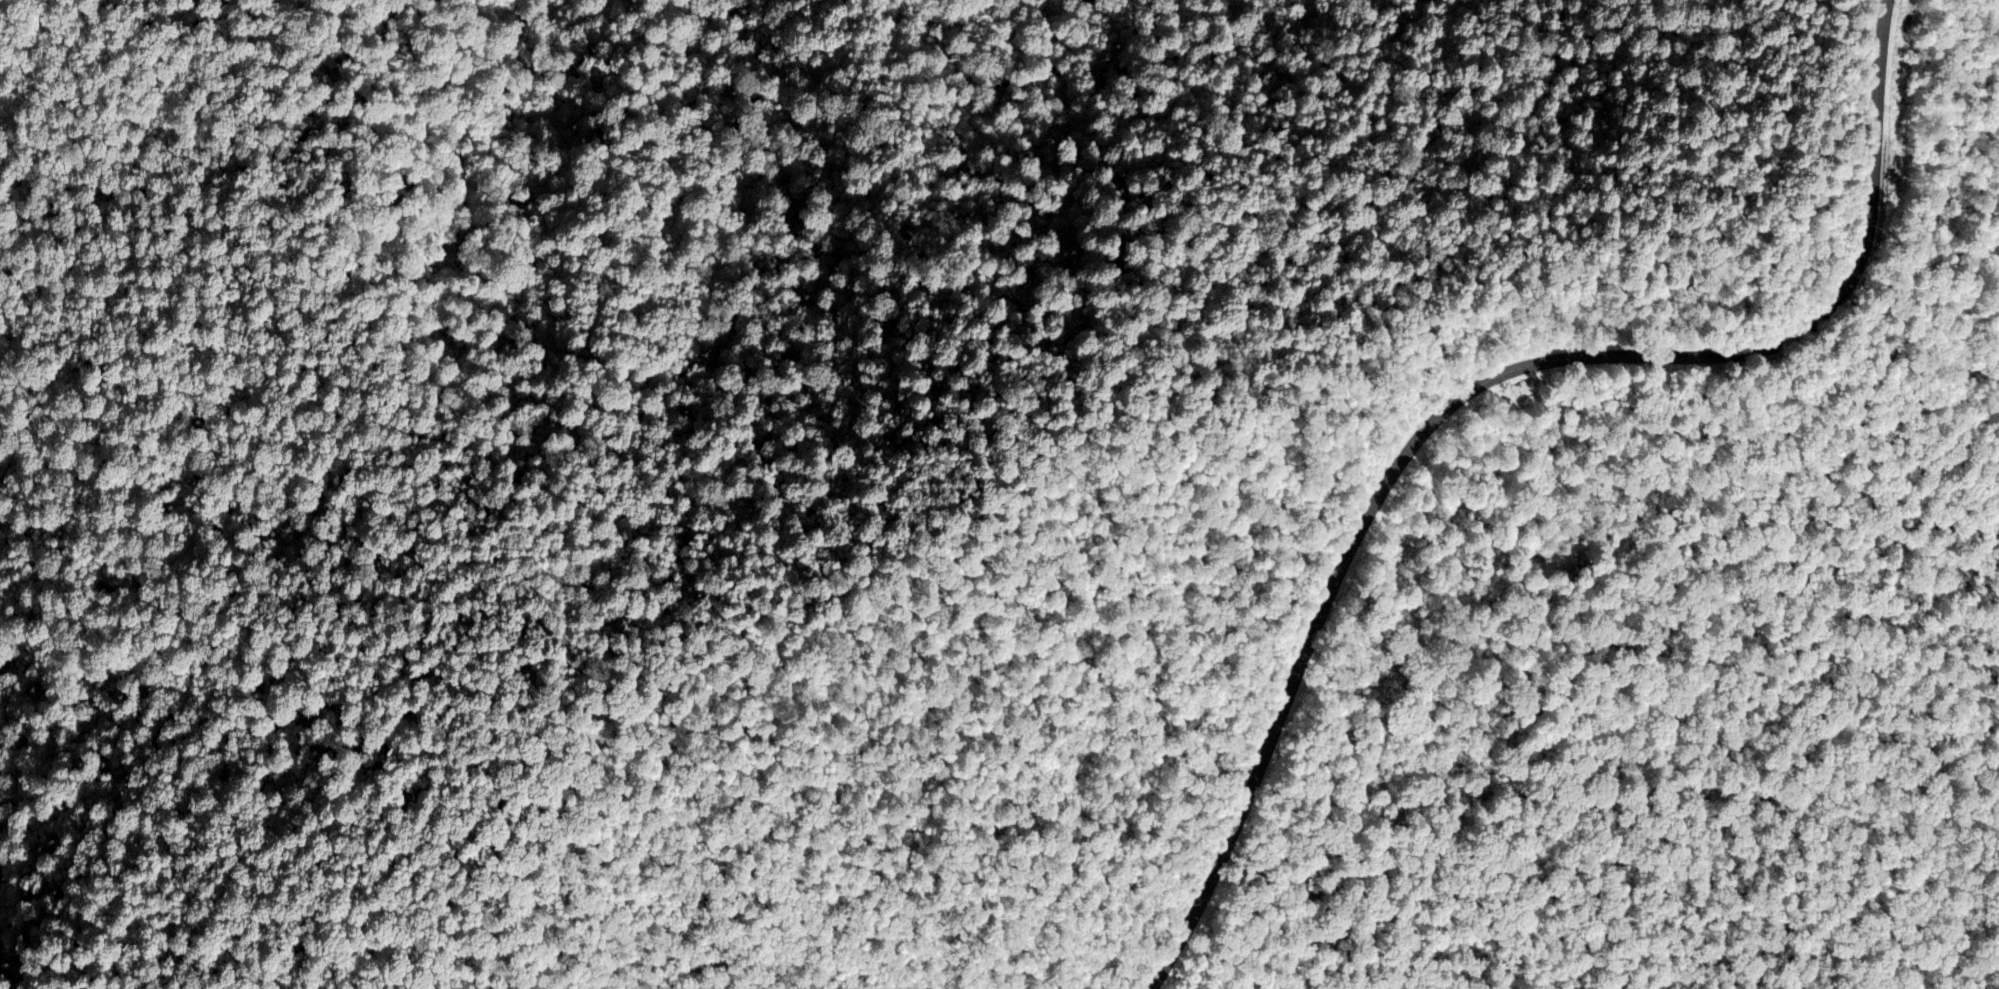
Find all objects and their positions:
road: (1878, 49)
road: (1436, 416)
road: (1729, 480)
road: (1150, 510)

